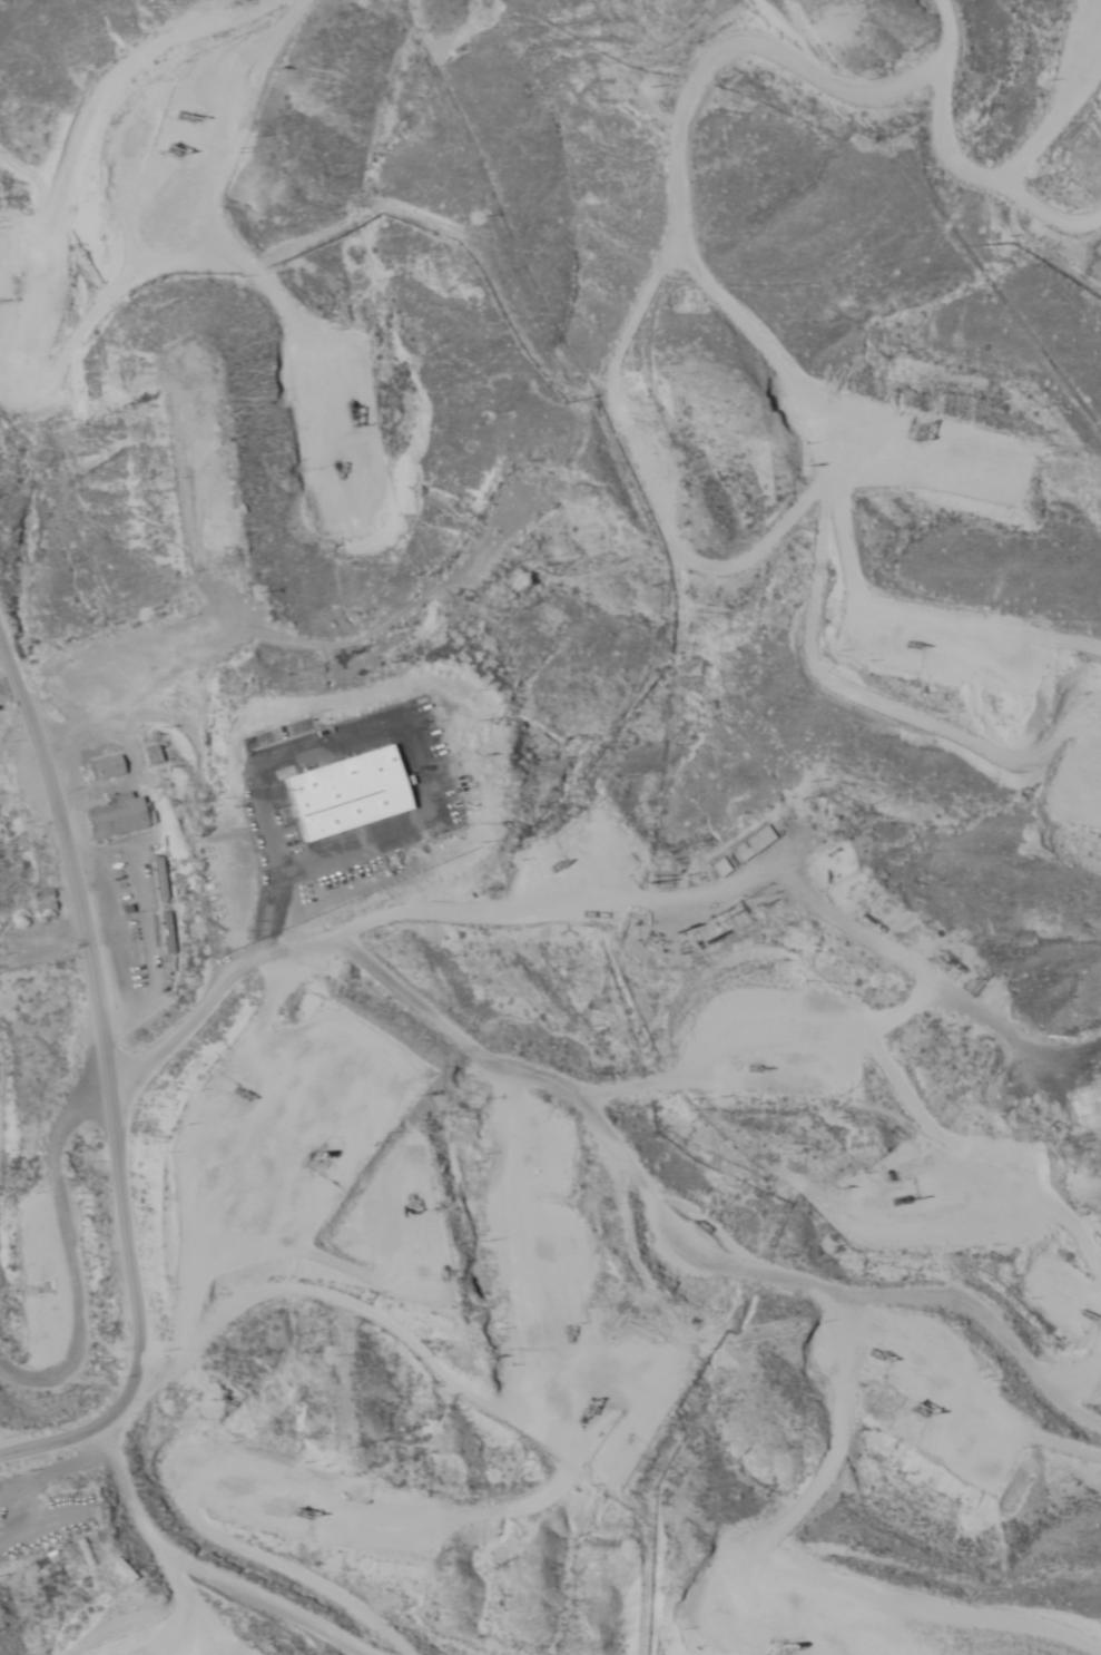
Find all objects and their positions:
road: (347, 19)
road: (685, 32)
road: (918, 169)
road: (184, 180)
road: (849, 472)
road: (23, 691)
building: (4, 719)
building: (111, 767)
building: (343, 794)
building: (124, 816)
building: (749, 844)
building: (716, 868)
building: (169, 897)
building: (47, 901)
road: (307, 977)
road: (1083, 1051)
road: (507, 1098)
road: (122, 1147)
road: (41, 1201)
road: (836, 1342)
road: (710, 1383)
road: (609, 1394)
building: (114, 1575)

